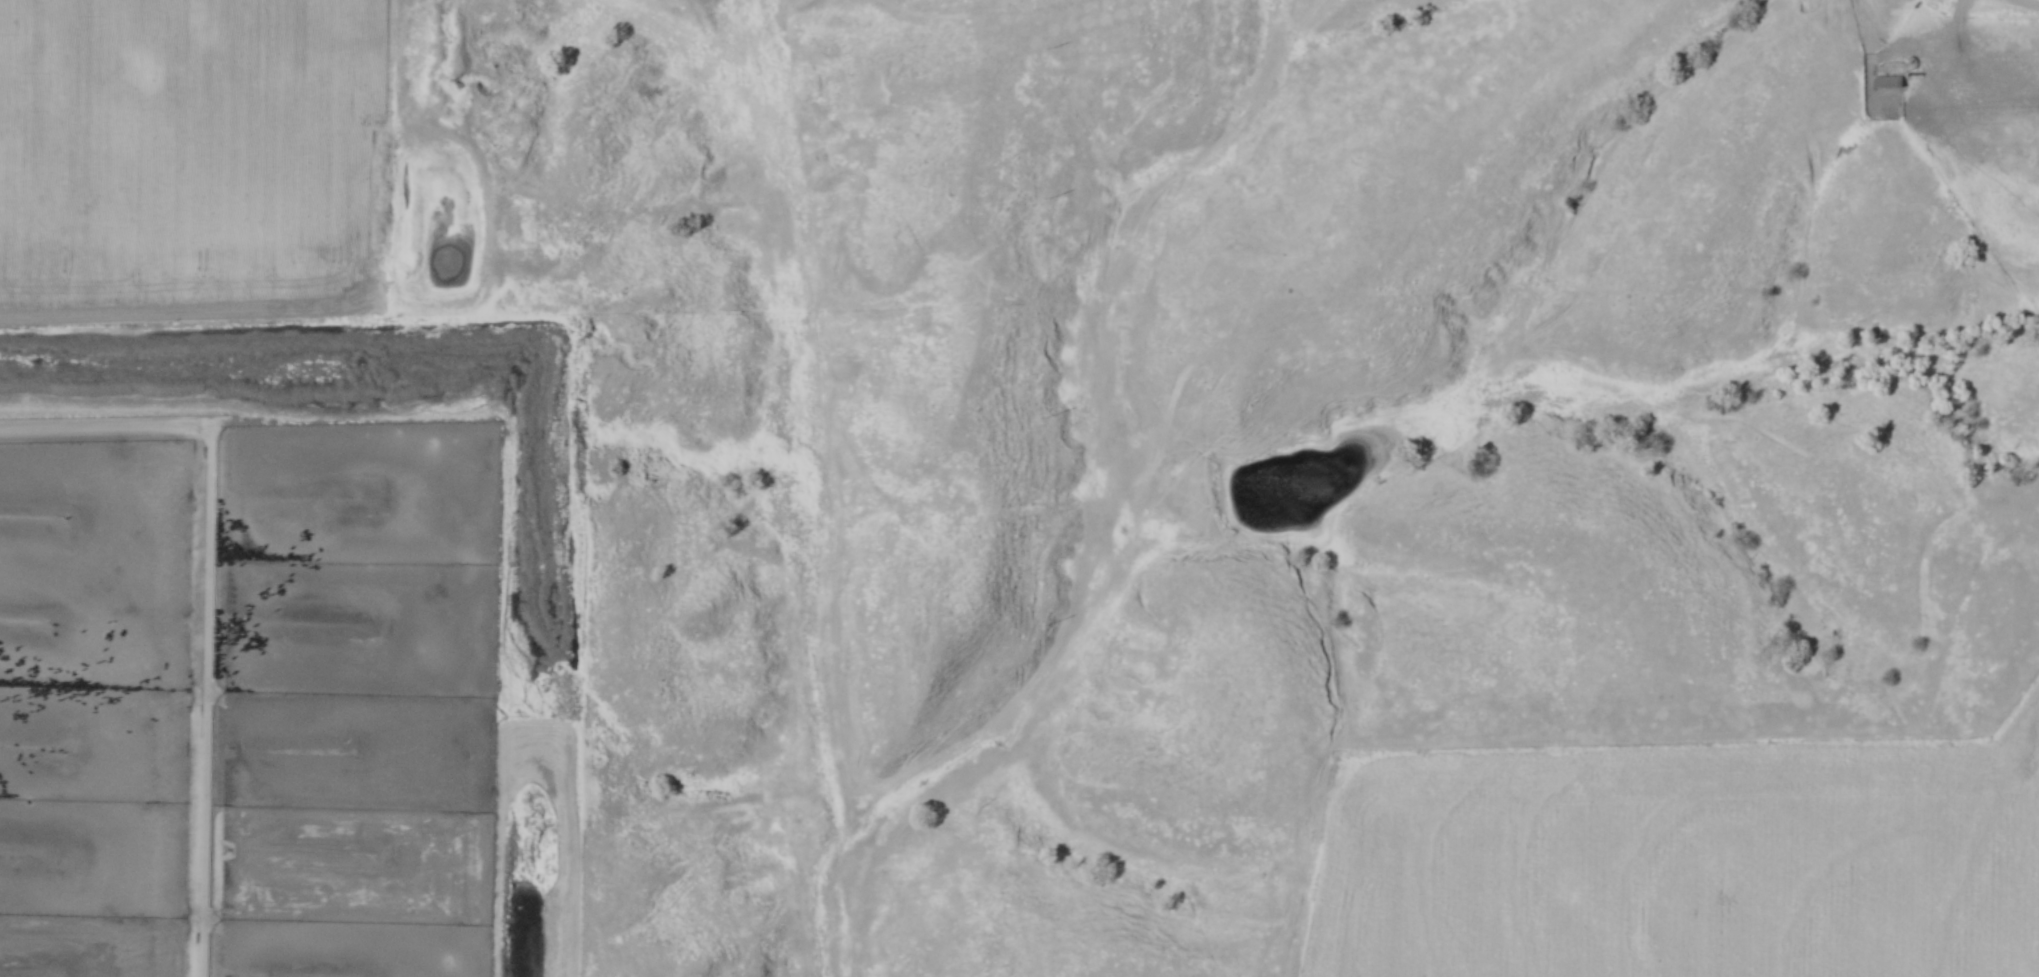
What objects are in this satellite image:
building: (1887, 81)
crop: (195, 146)
crop: (1687, 861)

